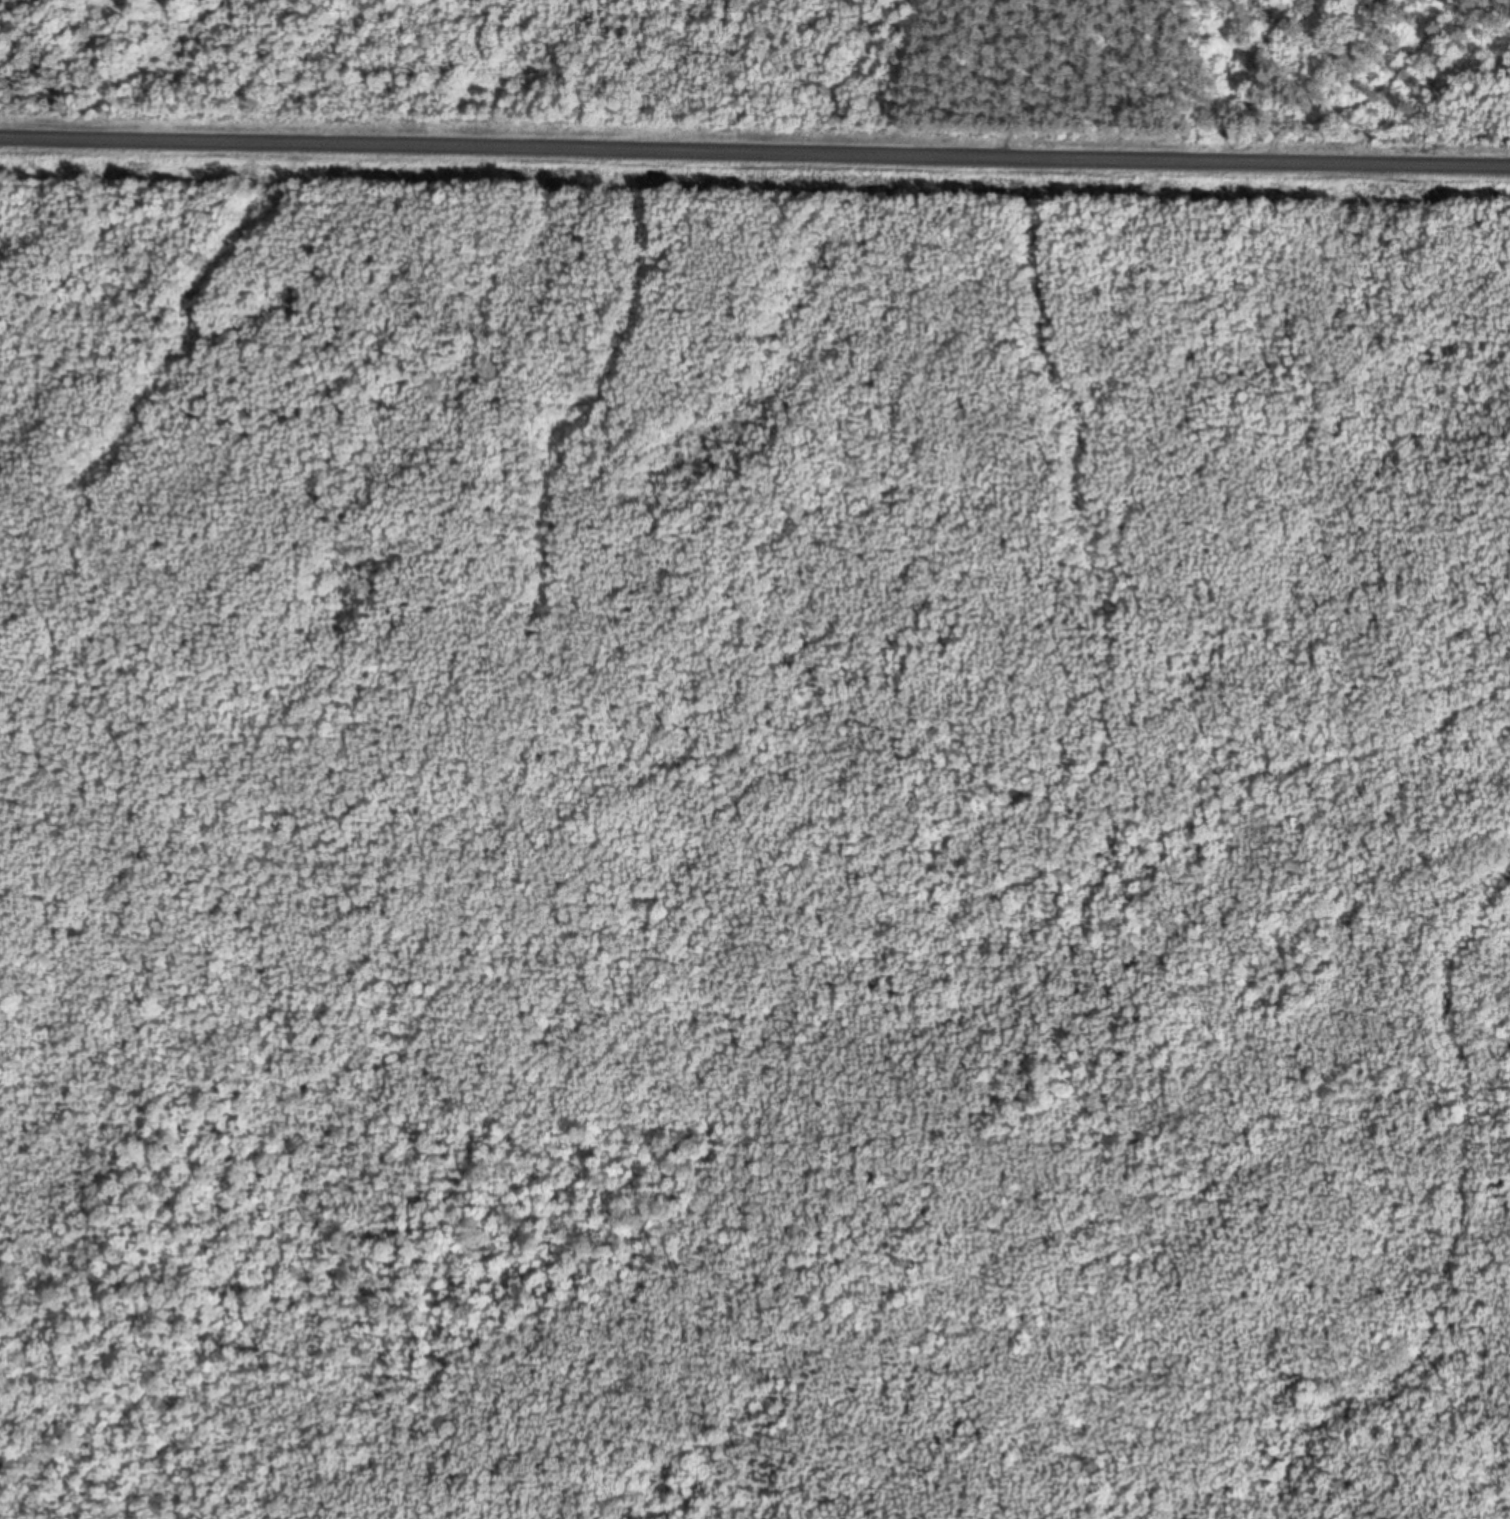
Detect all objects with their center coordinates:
road: (755, 153)

